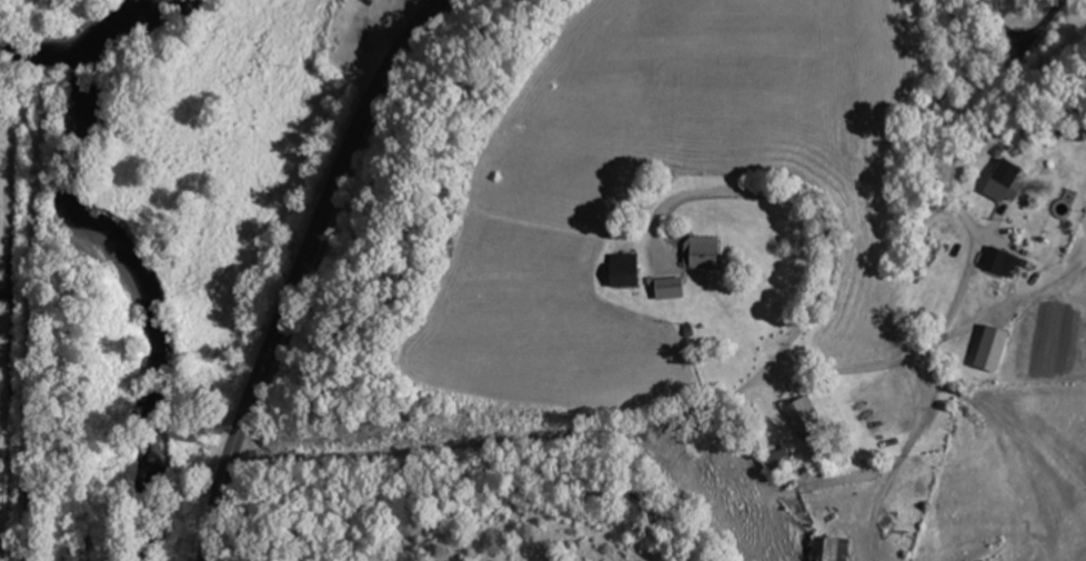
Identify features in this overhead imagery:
river: (95, 46)
building: (1007, 181)
building: (708, 252)
building: (1003, 261)
road: (300, 269)
building: (632, 270)
building: (997, 352)
road: (765, 377)
building: (808, 417)
building: (783, 460)
building: (835, 549)

